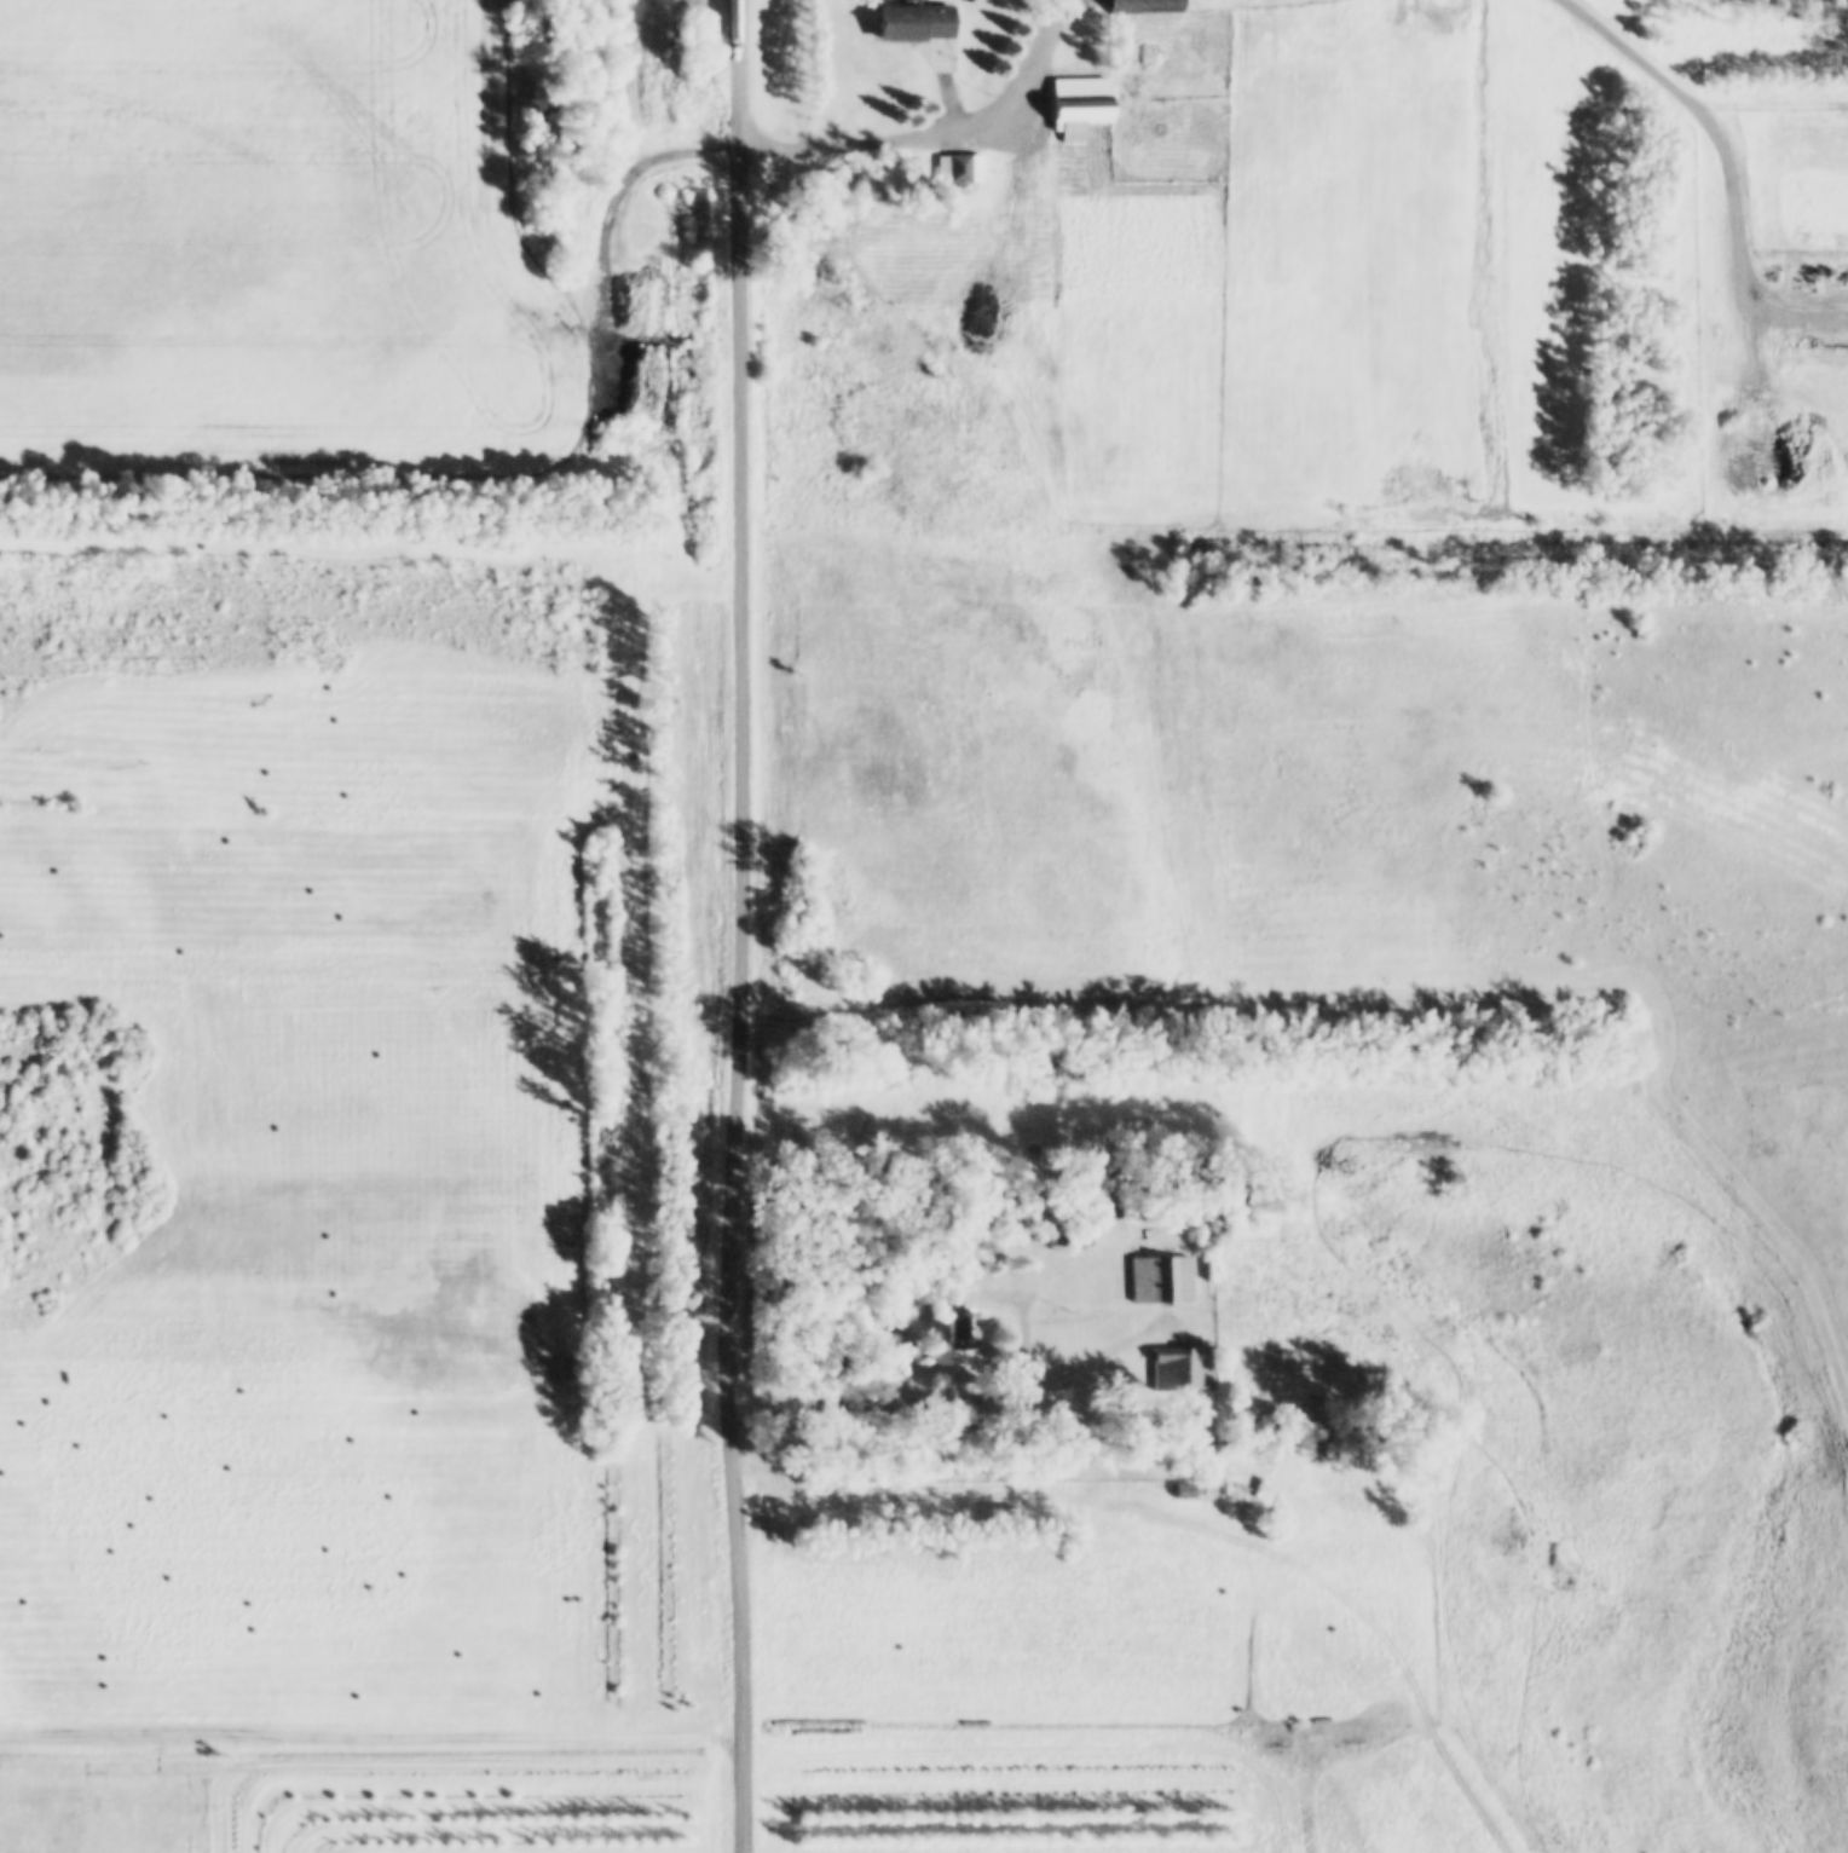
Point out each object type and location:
building: (1144, 2)
building: (913, 16)
building: (1080, 97)
building: (1427, 112)
road: (930, 129)
building: (958, 162)
building: (1715, 328)
road: (735, 927)
building: (1102, 1162)
building: (1069, 1228)
building: (1161, 1271)
building: (960, 1305)
building: (1182, 1361)
road: (964, 1393)
building: (1183, 1483)
road: (1202, 1513)
road: (716, 1732)

